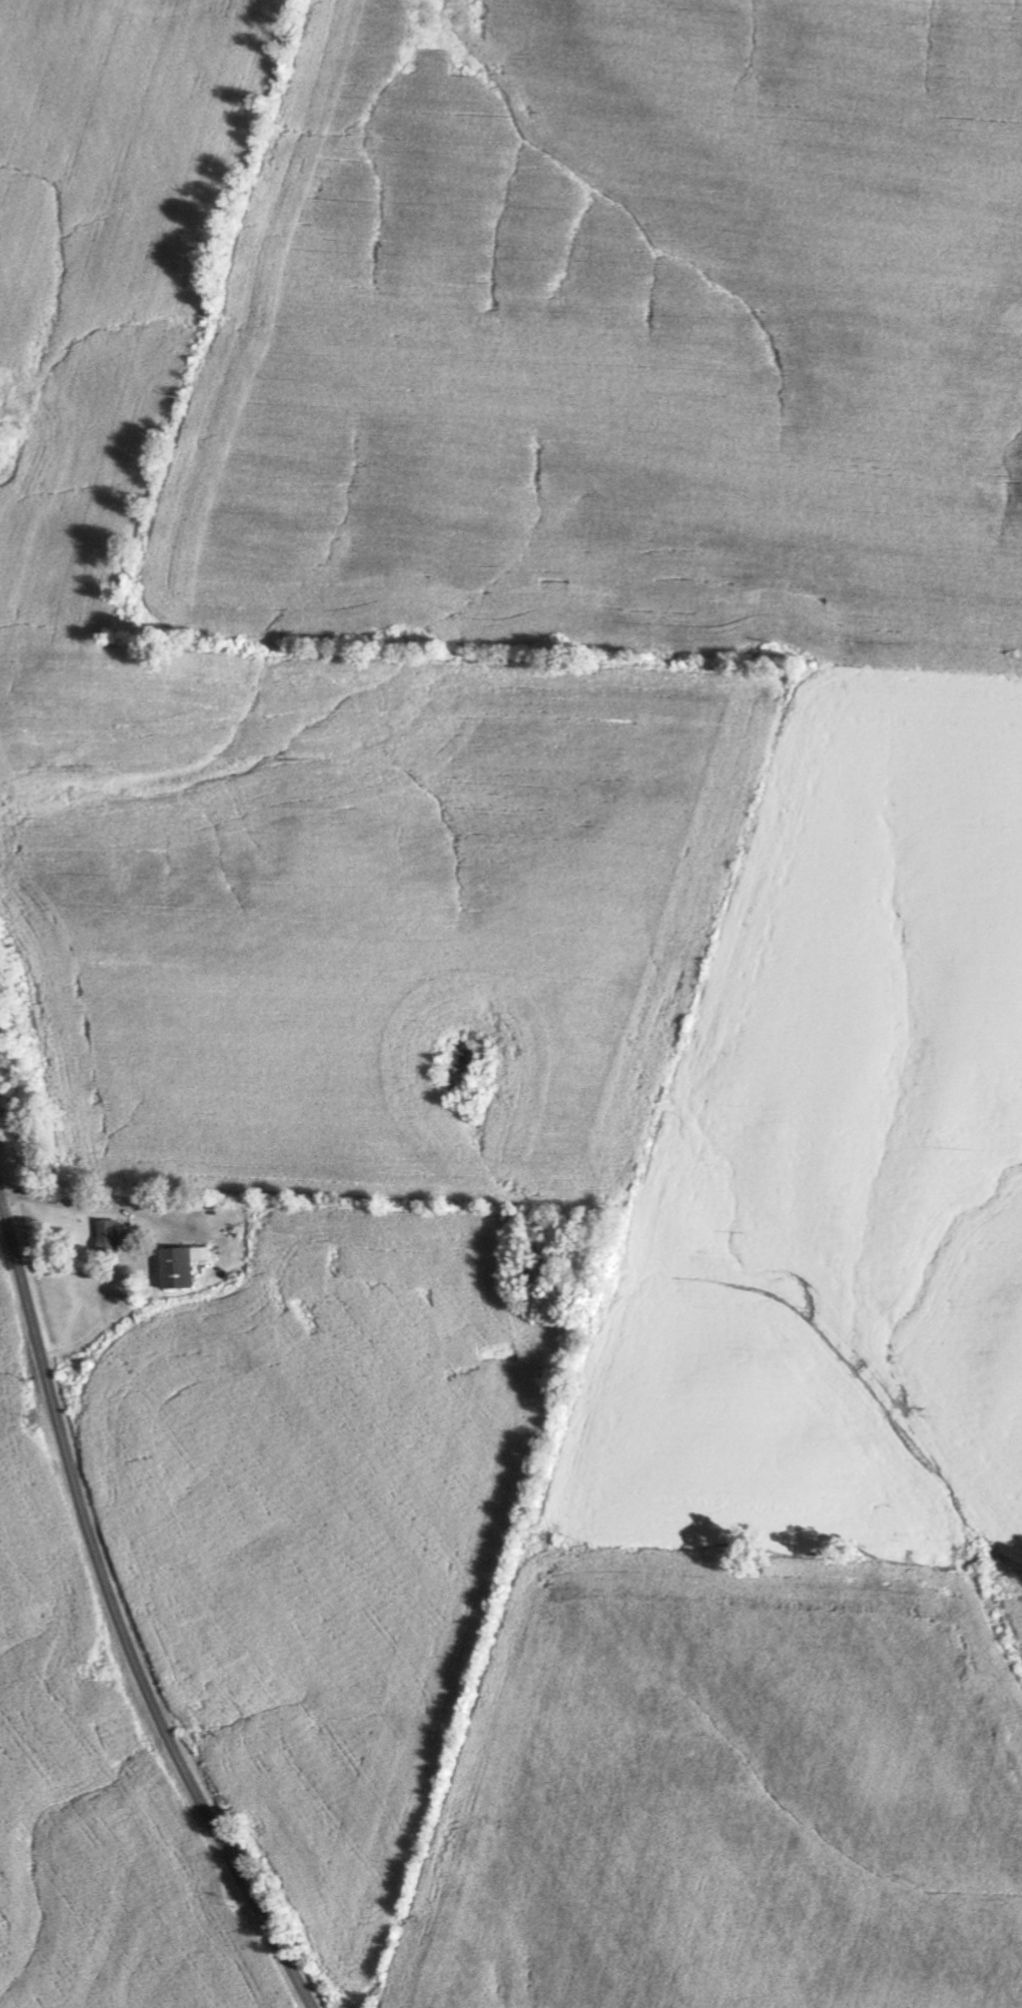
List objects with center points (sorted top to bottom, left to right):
building: (110, 1238)
building: (183, 1267)
road: (118, 1613)

